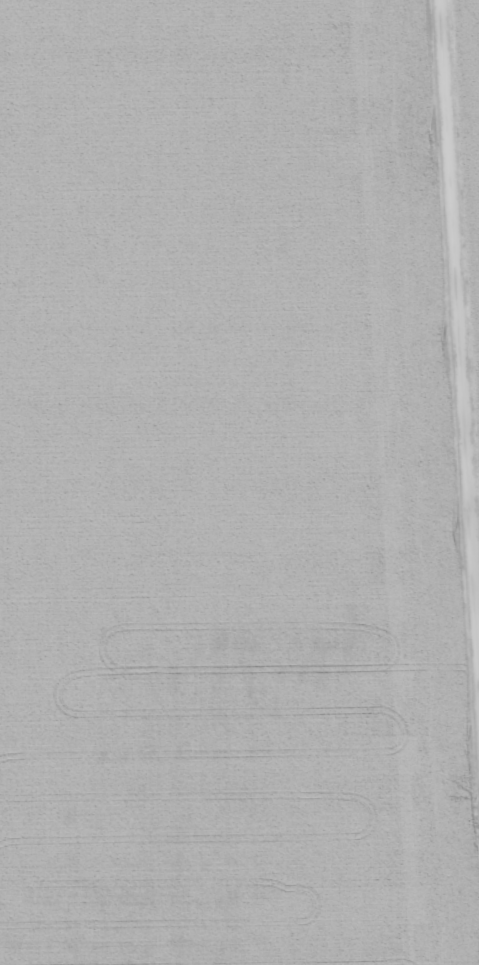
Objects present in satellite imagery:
road: (467, 194)

